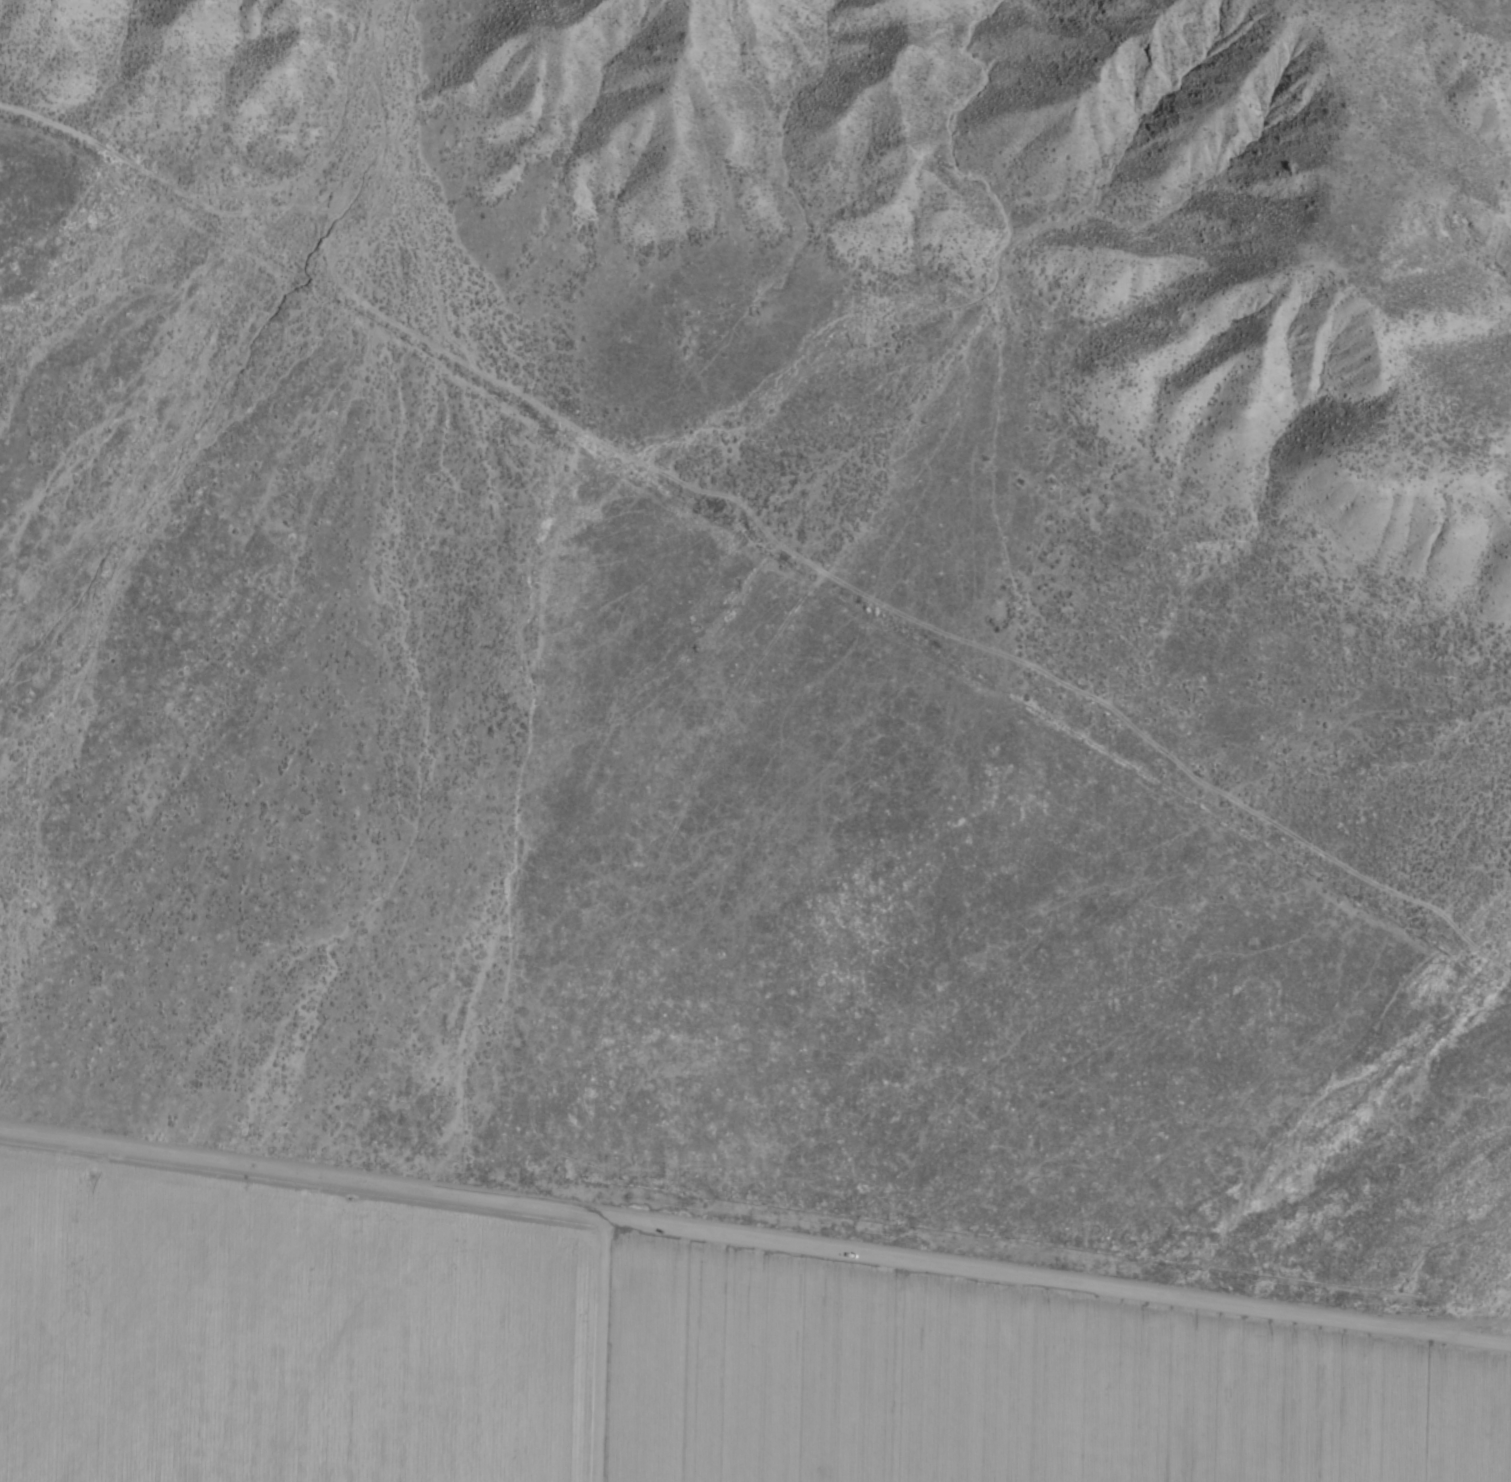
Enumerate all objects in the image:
road: (160, 178)
crop: (285, 1334)
crop: (1015, 1384)

